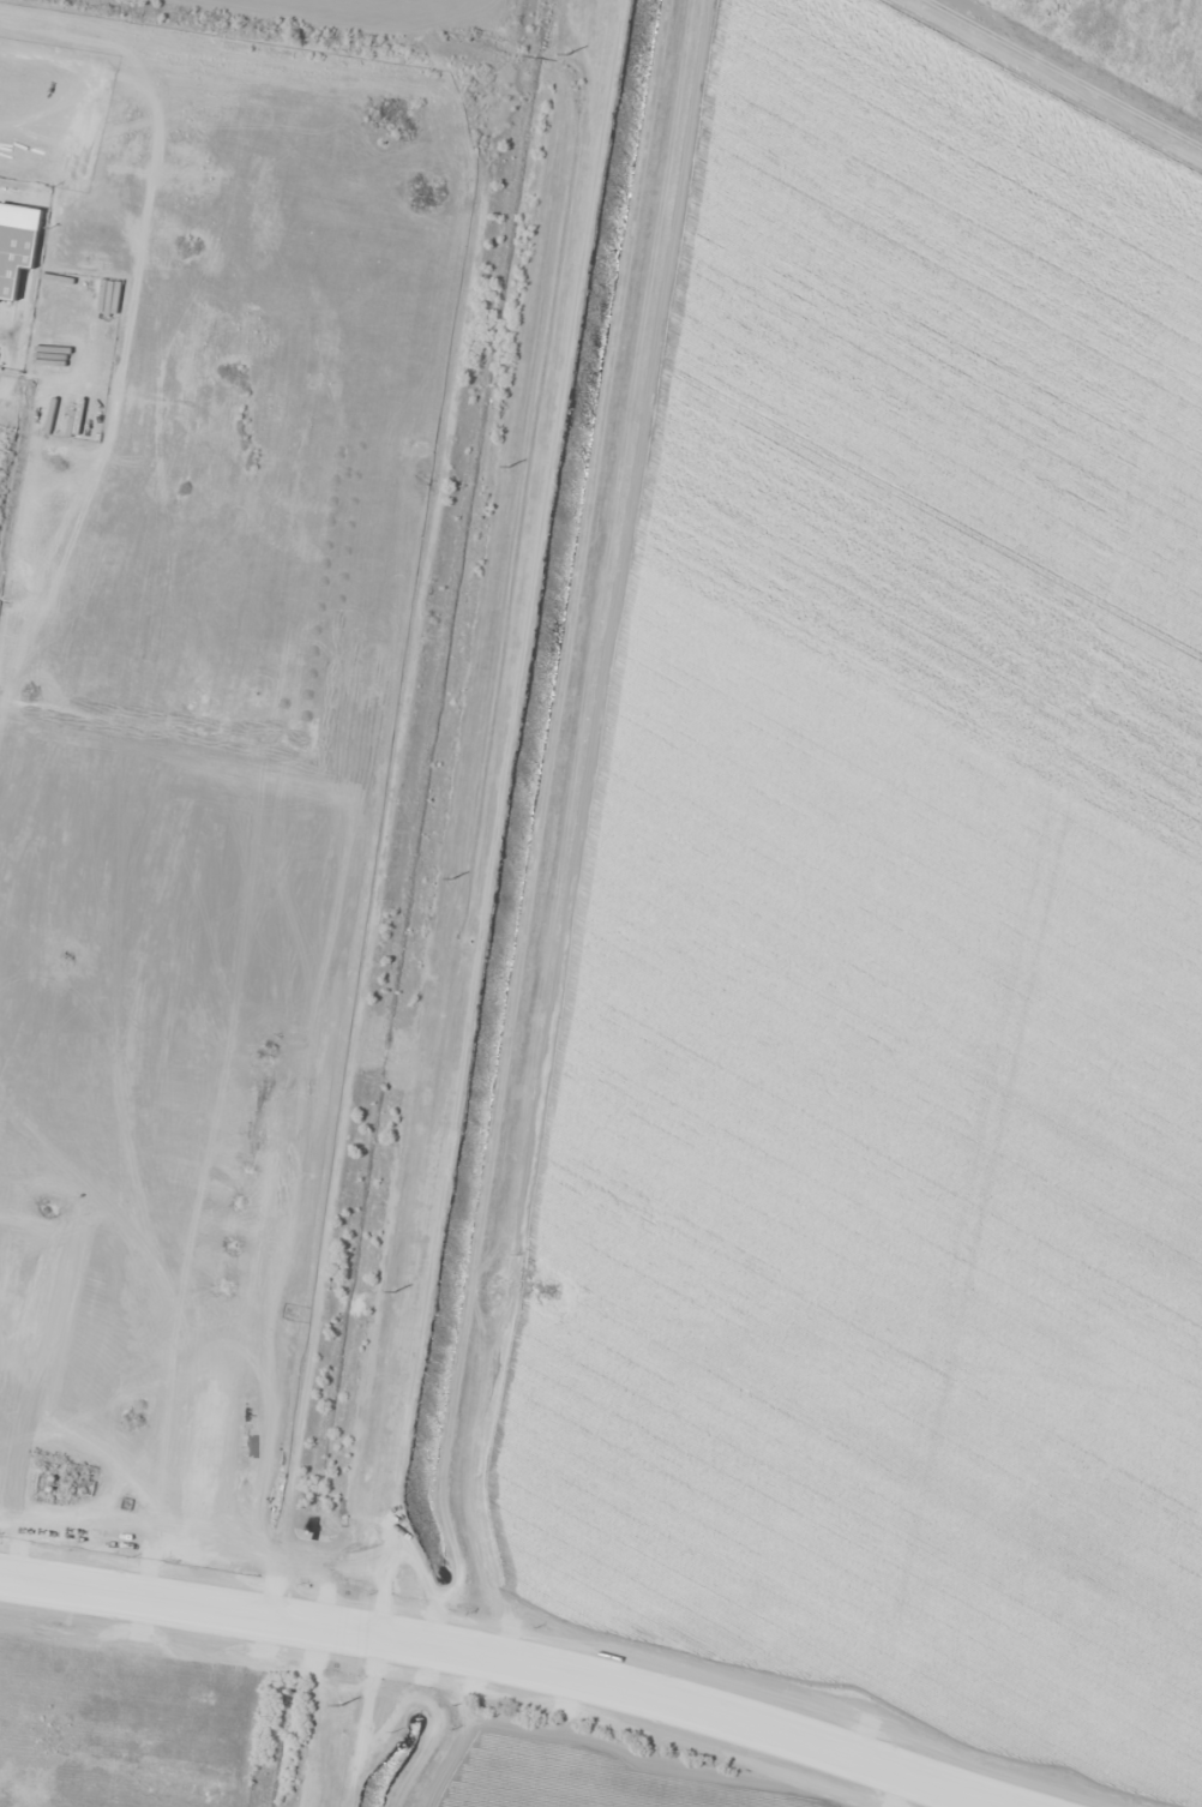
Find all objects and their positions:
building: (14, 257)
road: (512, 1664)

